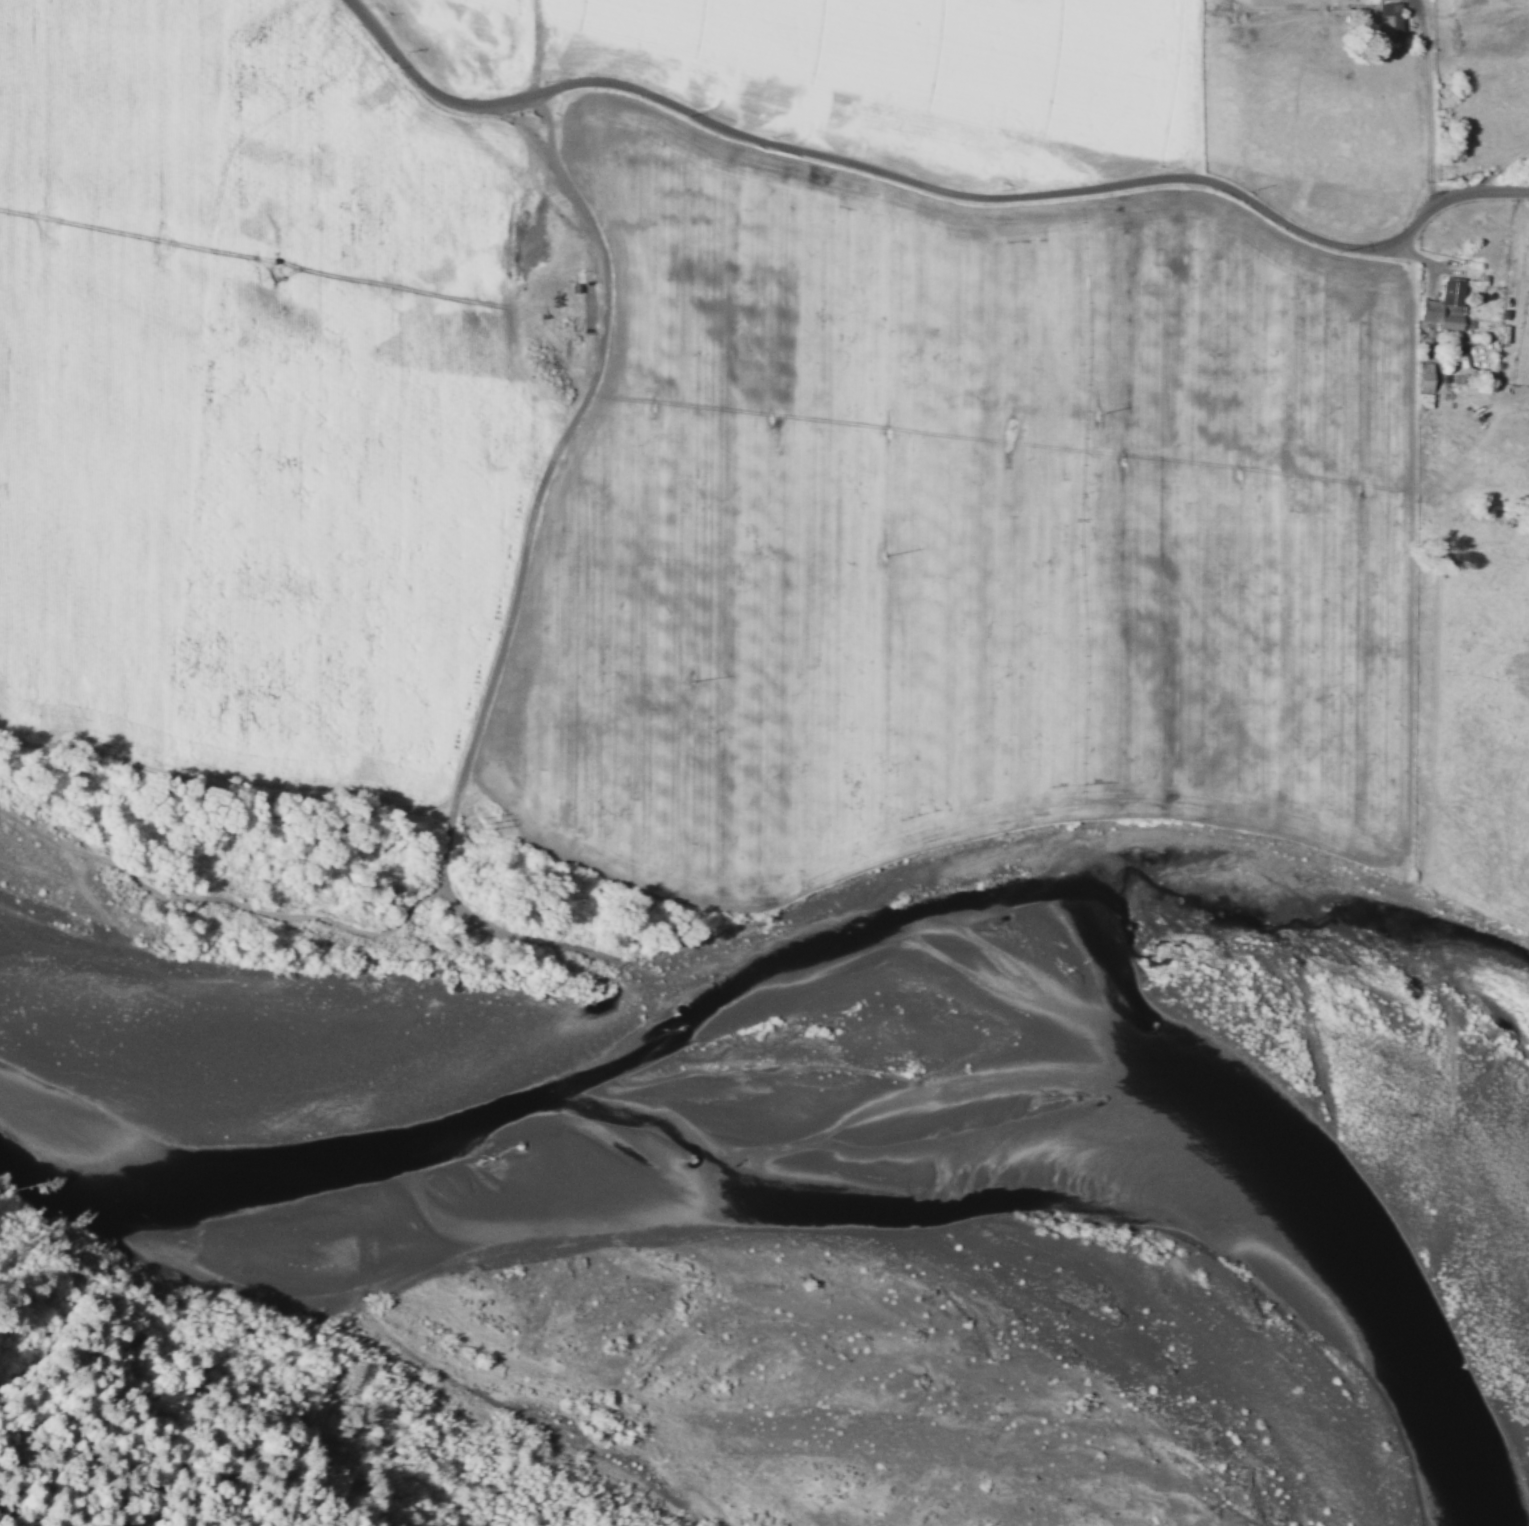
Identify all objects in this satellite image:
building: (1390, 20)
road: (537, 47)
road: (927, 184)
building: (1445, 305)
river: (598, 1188)
river: (1138, 1189)
river: (48, 1195)
river: (162, 1238)
river: (484, 1245)
river: (402, 1259)
river: (290, 1283)

